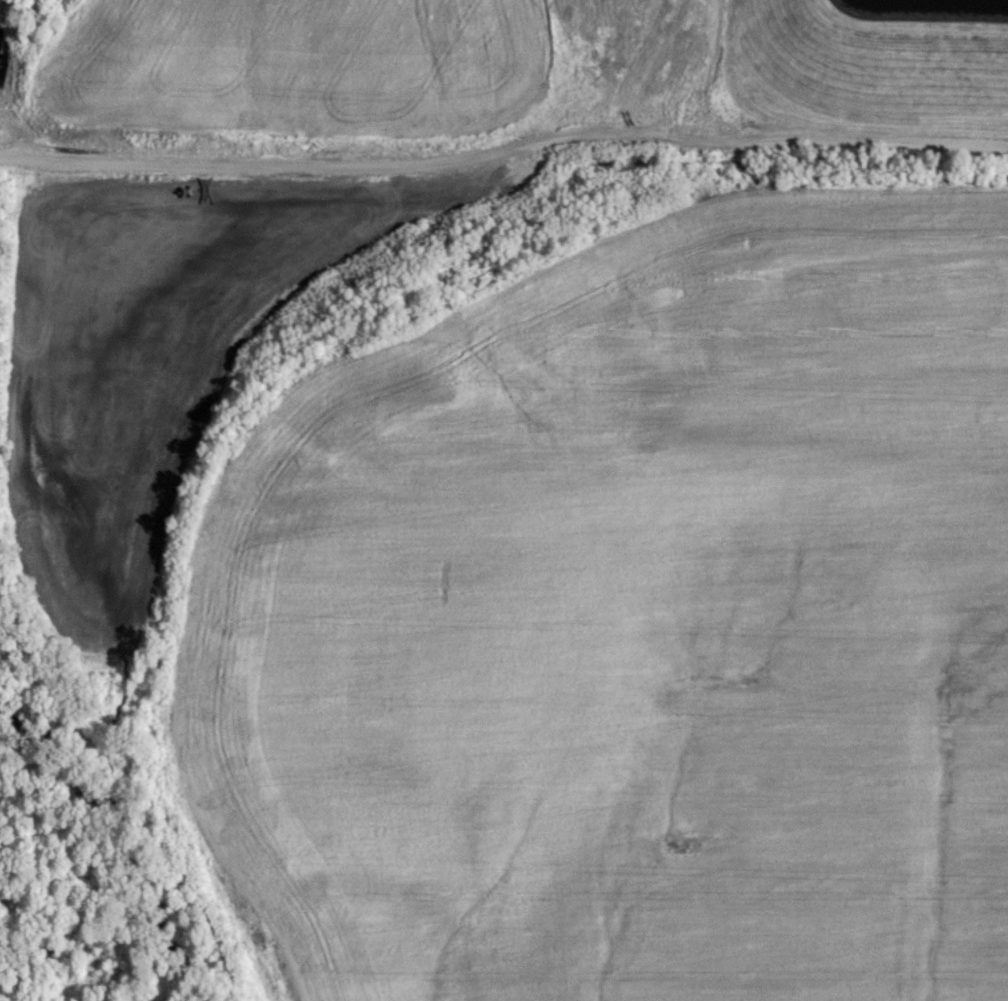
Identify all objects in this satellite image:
road: (503, 159)

